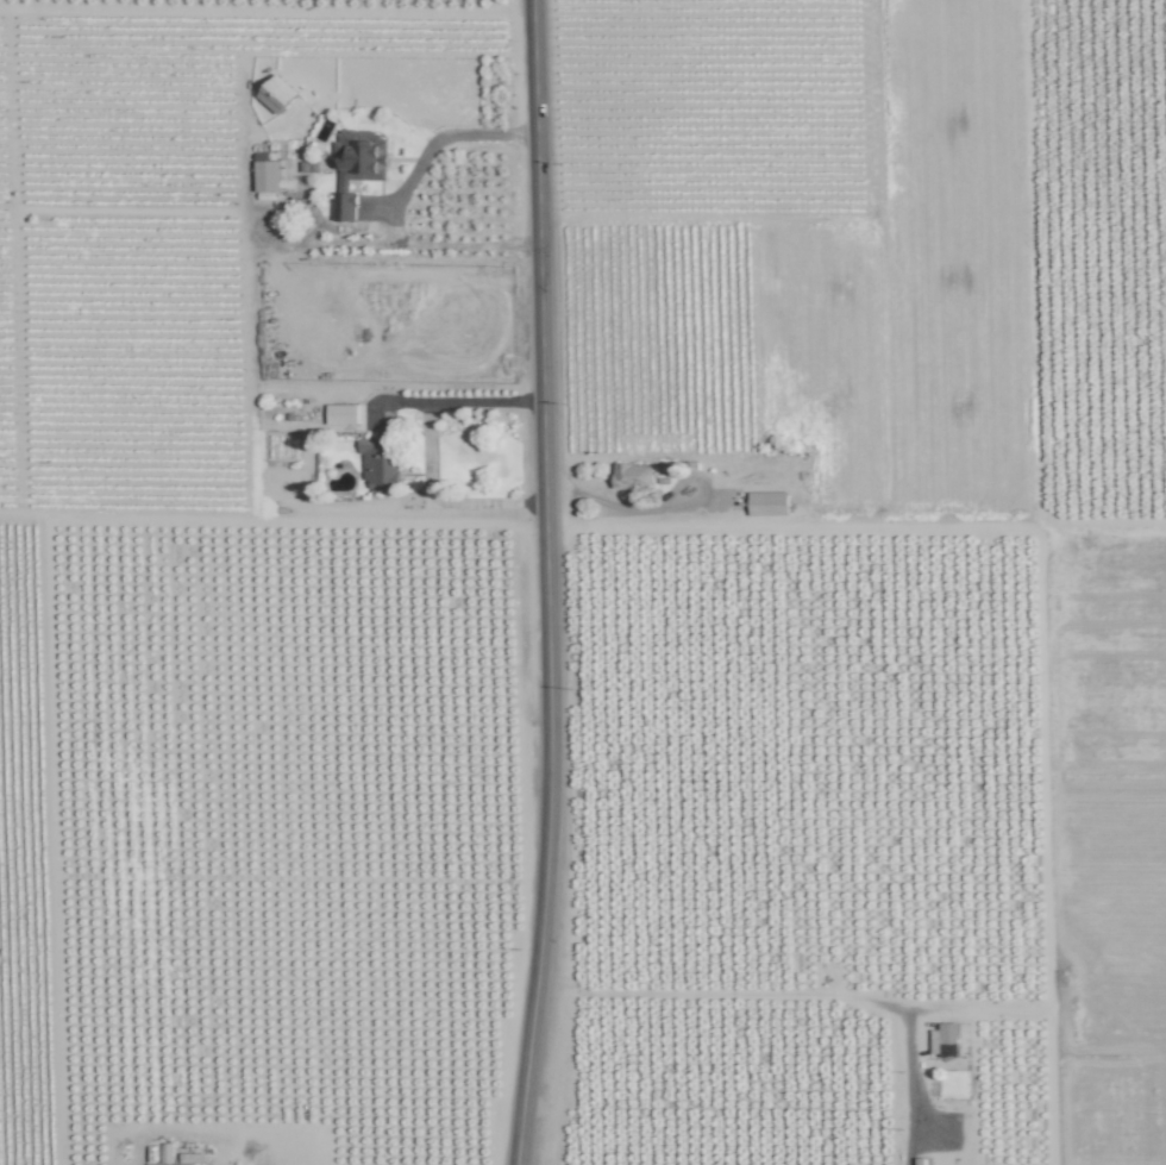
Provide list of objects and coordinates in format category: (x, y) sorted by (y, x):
building: (277, 94)
road: (444, 137)
building: (357, 167)
building: (268, 176)
road: (459, 403)
building: (341, 414)
building: (382, 459)
building: (632, 475)
road: (440, 501)
building: (769, 503)
road: (627, 507)
road: (550, 583)
road: (797, 994)
building: (945, 1040)
building: (169, 1164)

